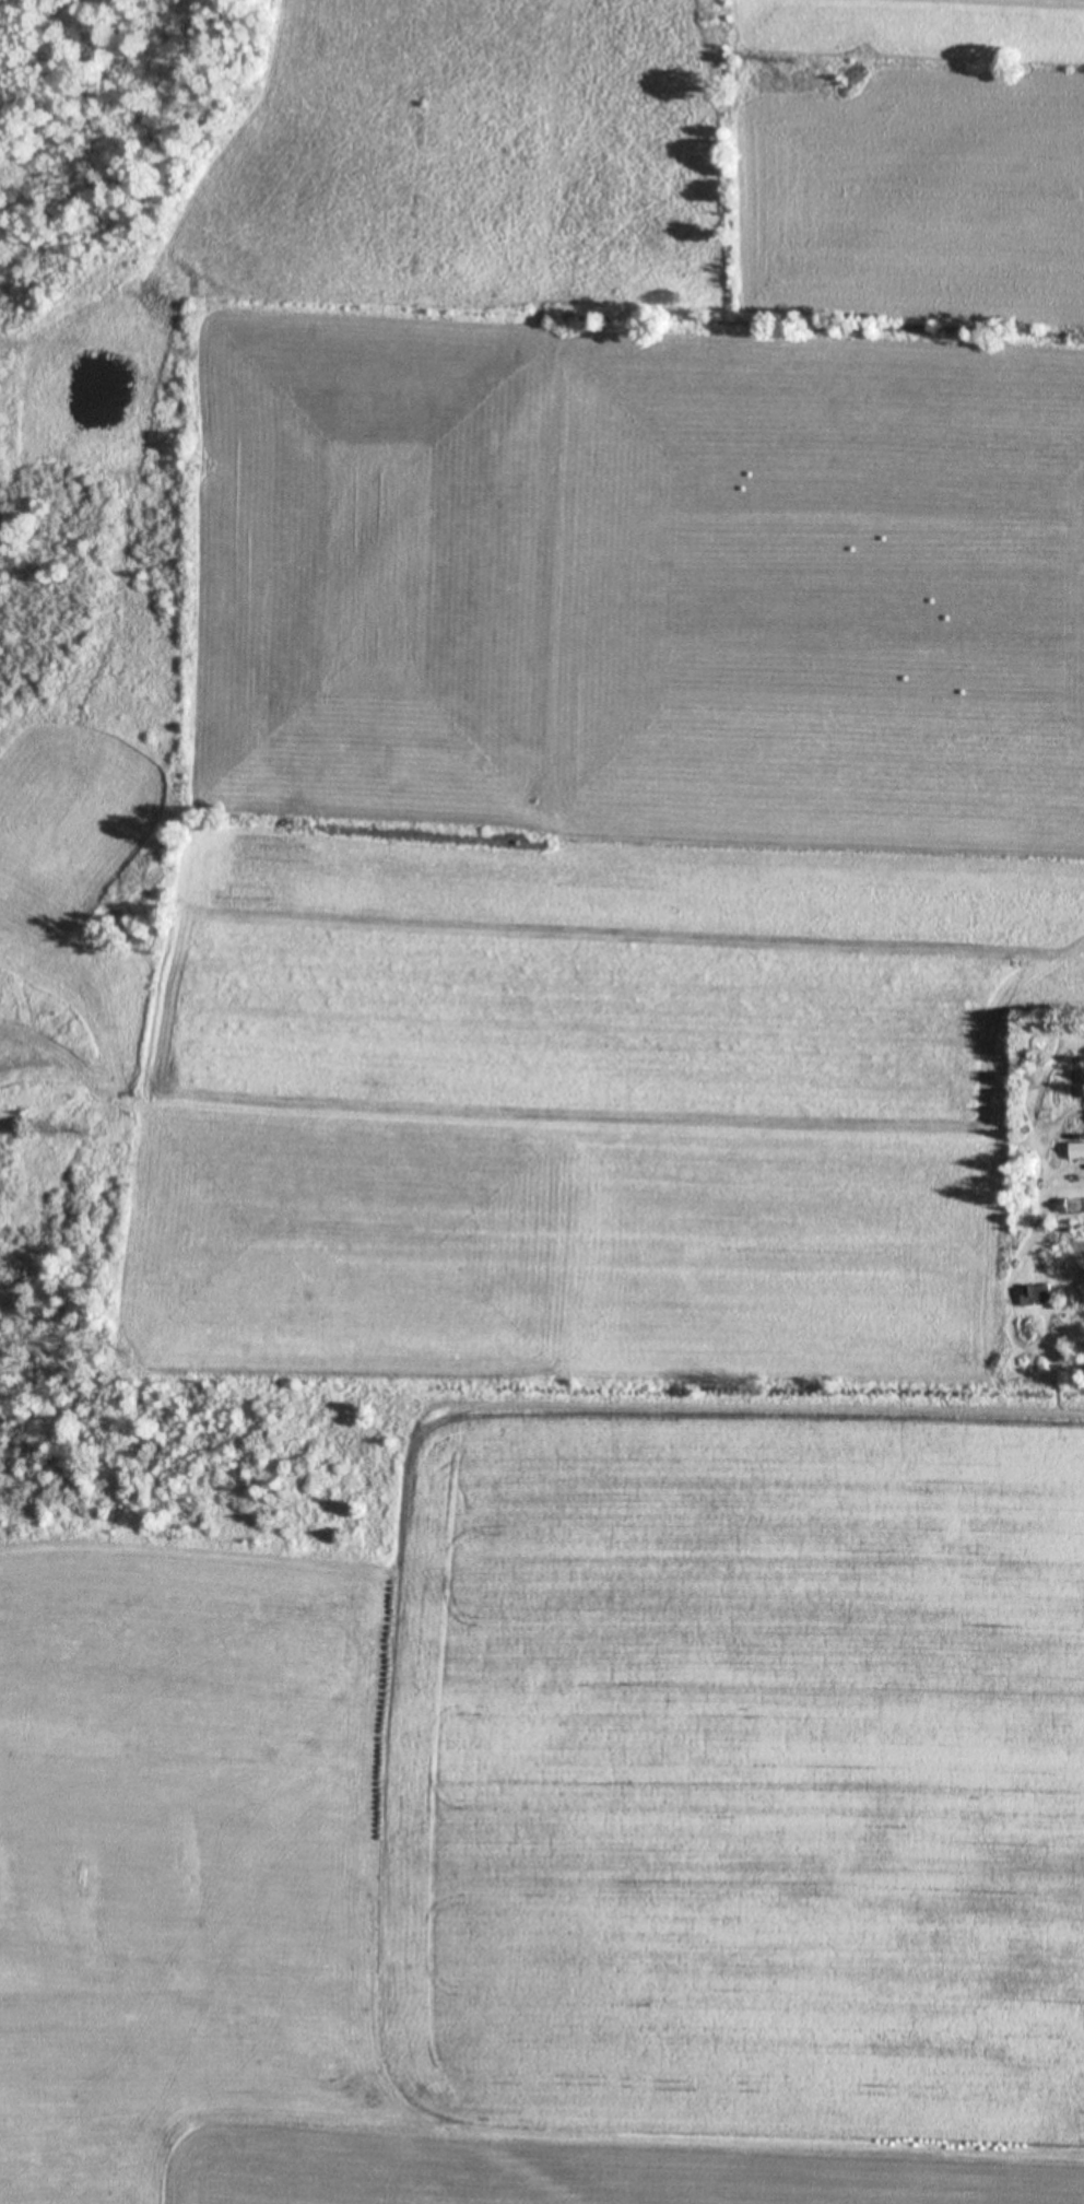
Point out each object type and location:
building: (1072, 1206)

